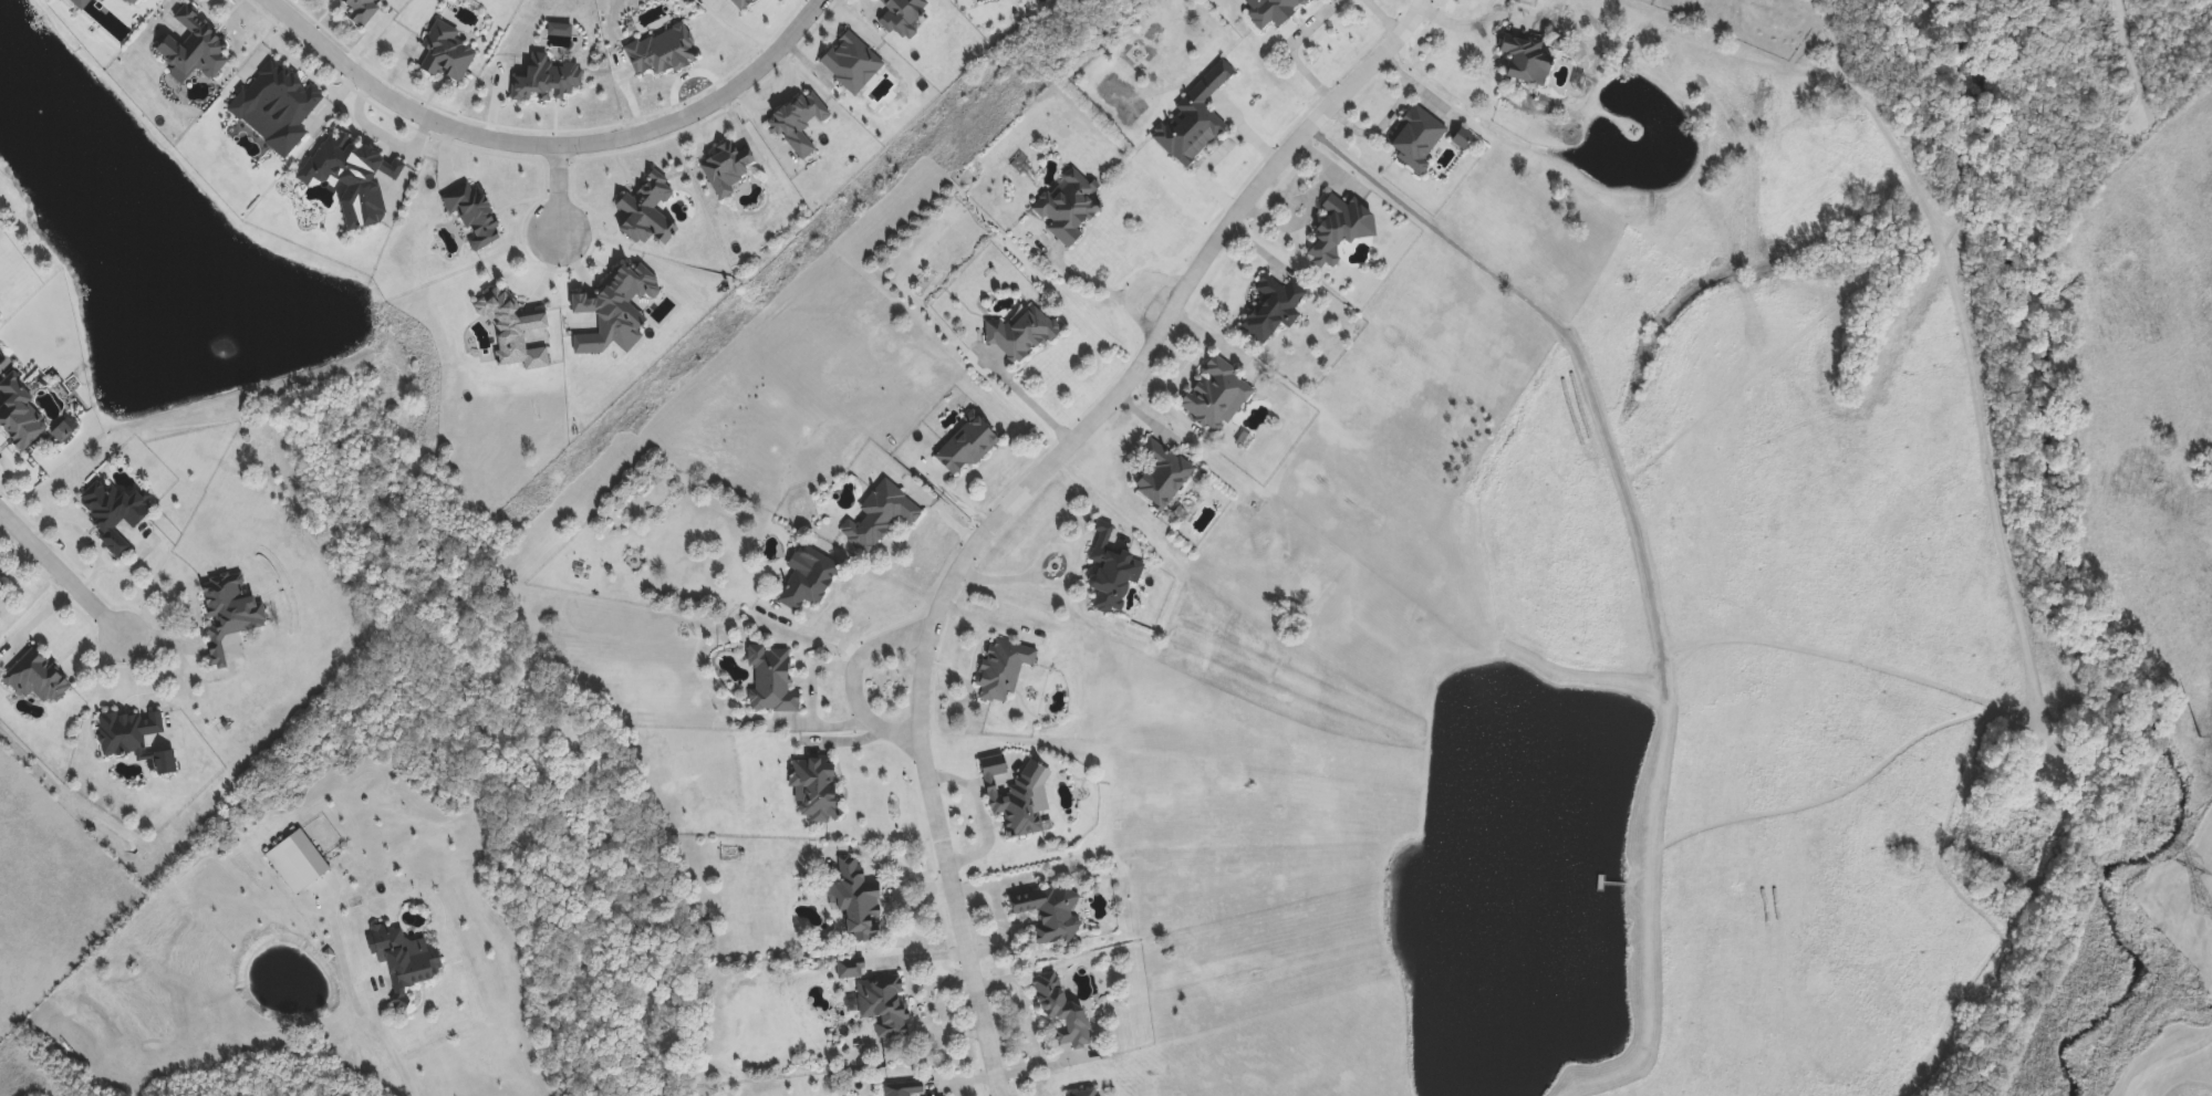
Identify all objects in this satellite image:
building: (111, 0)
building: (361, 11)
building: (1274, 12)
building: (904, 15)
road: (1393, 19)
road: (1474, 20)
building: (196, 48)
road: (1298, 51)
building: (448, 55)
building: (1527, 60)
building: (278, 106)
building: (1193, 119)
building: (1416, 139)
road: (547, 147)
road: (1216, 154)
building: (353, 178)
road: (557, 191)
building: (1068, 208)
building: (1341, 228)
road: (1102, 291)
building: (1274, 309)
building: (513, 332)
building: (1024, 334)
building: (1218, 396)
road: (1028, 403)
building: (20, 416)
building: (966, 447)
road: (6, 469)
building: (1163, 474)
road: (1030, 493)
building: (116, 514)
building: (880, 516)
road: (4, 523)
road: (82, 536)
building: (1113, 568)
road: (60, 571)
road: (1058, 581)
building: (807, 583)
road: (28, 587)
building: (2, 593)
building: (230, 613)
road: (34, 618)
building: (1004, 670)
building: (35, 679)
building: (770, 680)
road: (854, 680)
building: (137, 739)
power tower: (2200, 744)
building: (816, 790)
building: (1021, 813)
building: (858, 900)
power tower: (2200, 910)
building: (1051, 912)
building: (404, 960)
road: (359, 998)
building: (877, 999)
building: (1063, 1014)
road: (1031, 1023)
road: (969, 1082)
building: (905, 1090)
building: (1091, 1094)

